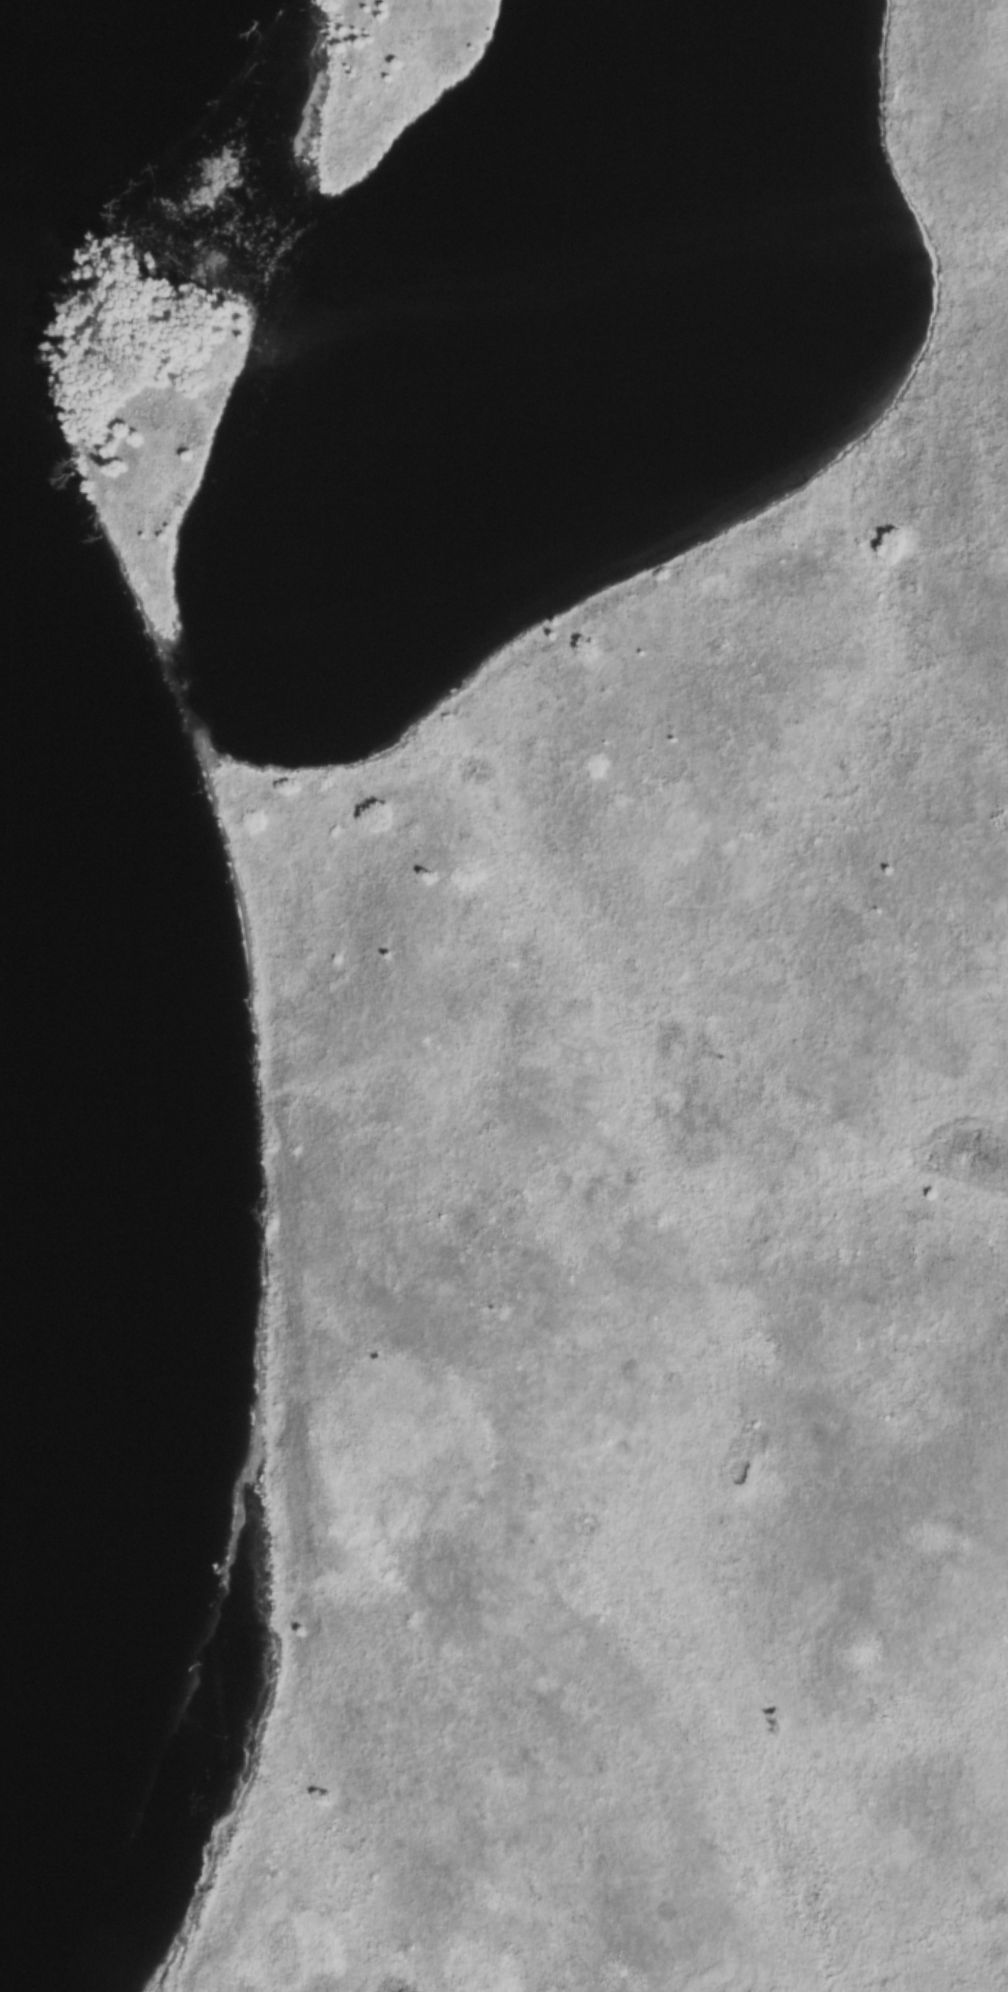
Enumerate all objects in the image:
road: (309, 970)

